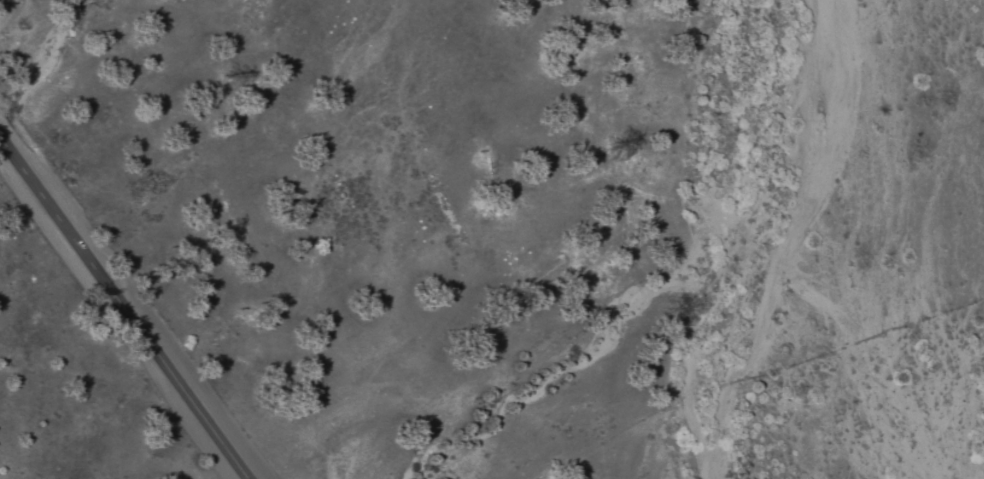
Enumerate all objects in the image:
river: (730, 239)
road: (122, 308)

